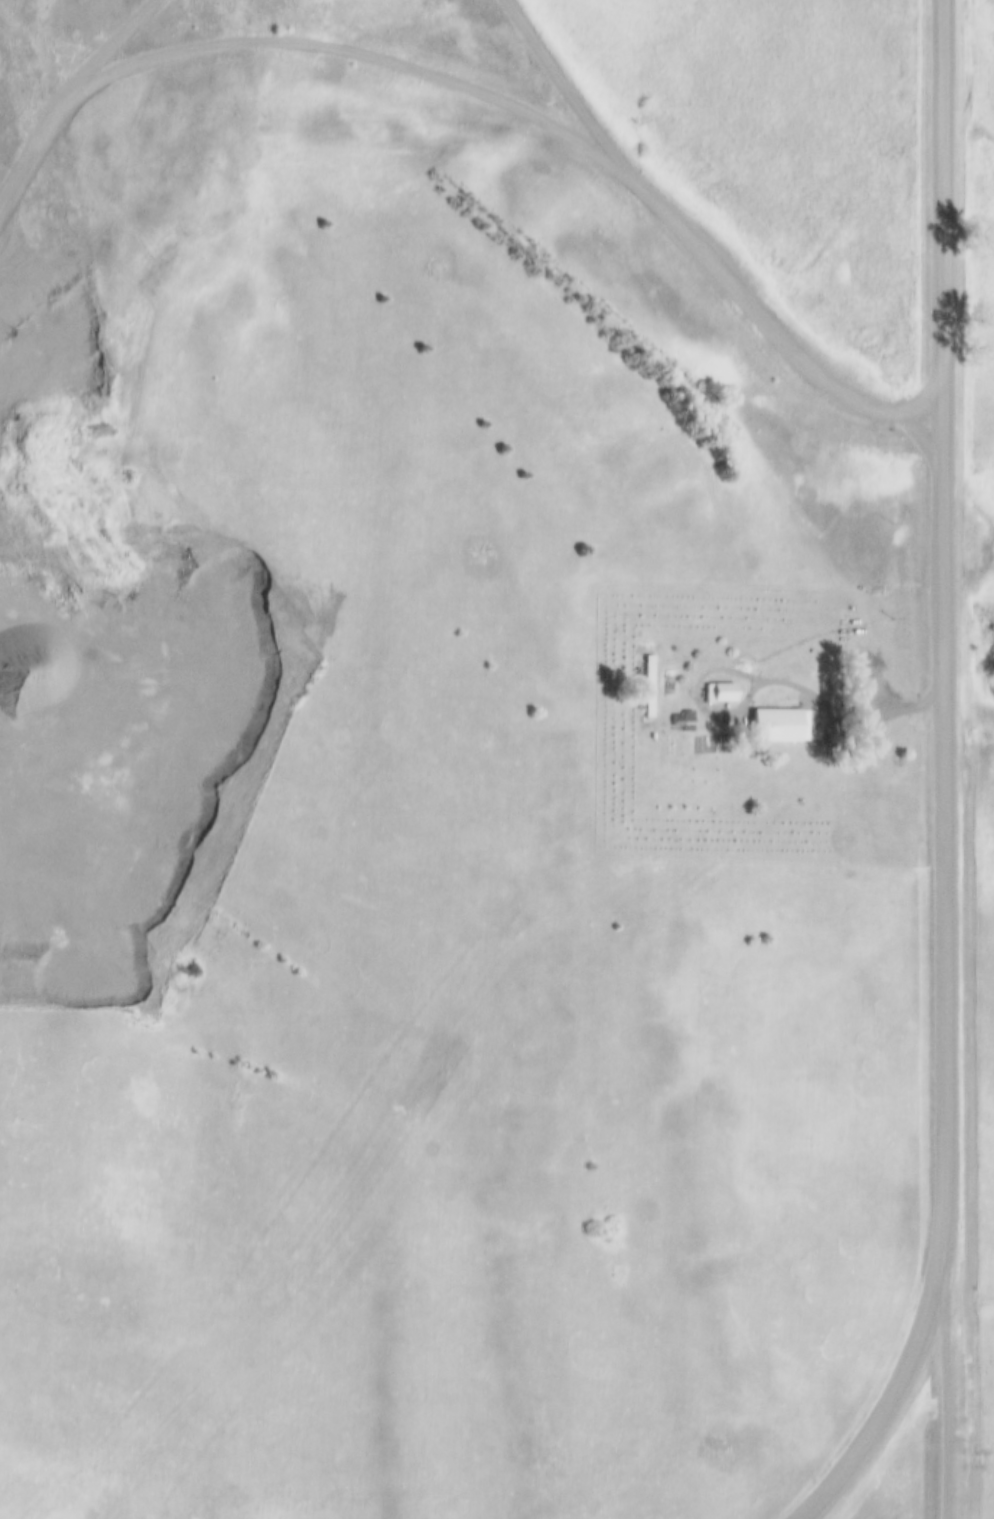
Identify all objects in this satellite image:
road: (702, 245)
quarry: (105, 325)
building: (653, 685)
building: (648, 688)
building: (726, 691)
road: (823, 704)
building: (682, 718)
building: (693, 720)
building: (782, 725)
road: (947, 778)
road: (949, 1408)

